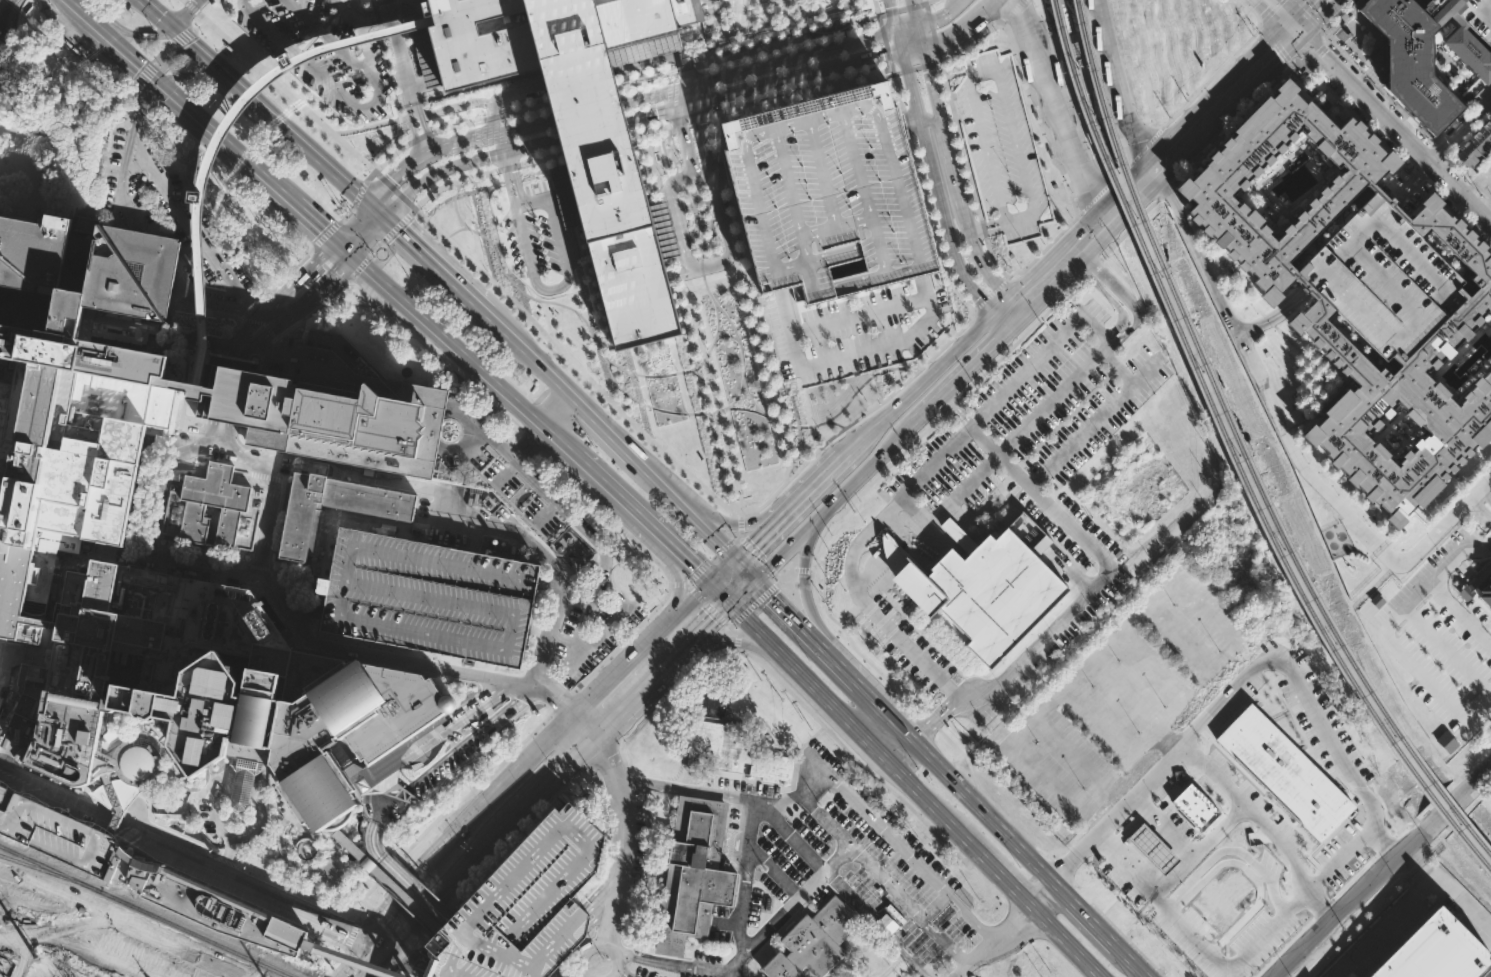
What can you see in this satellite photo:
road: (925, 1)
road: (929, 1)
road: (989, 5)
road: (4, 6)
road: (876, 7)
road: (901, 8)
road: (1252, 8)
traffic signals: (74, 10)
road: (1009, 11)
road: (1271, 11)
road: (344, 12)
road: (910, 13)
road: (186, 14)
road: (891, 15)
road: (1279, 15)
road: (1309, 15)
road: (940, 16)
road: (1338, 16)
building: (1477, 16)
parking garage: (1477, 16)
road: (1308, 17)
road: (374, 18)
traffic signals: (173, 28)
road: (905, 28)
road: (122, 30)
traffic signals: (1295, 31)
building: (547, 32)
road: (933, 32)
road: (954, 33)
road: (11, 34)
road: (917, 36)
road: (695, 38)
road: (330, 40)
road: (786, 40)
road: (423, 41)
road: (884, 41)
road: (898, 41)
road: (1277, 43)
road: (643, 44)
road: (194, 48)
road: (429, 48)
road: (910, 49)
road: (1309, 50)
road: (164, 51)
parking lot: (325, 51)
road: (398, 55)
building: (1425, 55)
road: (660, 58)
road: (792, 58)
road: (575, 61)
road: (684, 66)
road: (917, 68)
road: (93, 70)
road: (994, 71)
road: (1102, 72)
road: (1213, 74)
road: (645, 75)
road: (205, 77)
road: (1067, 77)
road: (580, 78)
road: (796, 78)
road: (1086, 80)
road: (929, 82)
road: (491, 83)
road: (278, 85)
road: (1024, 86)
road: (678, 88)
road: (1116, 88)
road: (703, 89)
road: (1380, 90)
road: (801, 91)
road: (584, 93)
road: (516, 94)
road: (690, 95)
road: (344, 97)
road: (645, 97)
road: (141, 98)
road: (431, 99)
road: (671, 100)
road: (1222, 101)
road: (412, 103)
road: (459, 105)
road: (683, 107)
road: (527, 108)
road: (1055, 110)
road: (140, 111)
road: (412, 111)
road: (588, 111)
road: (43, 113)
road: (1355, 113)
building: (589, 115)
road: (650, 115)
road: (491, 117)
road: (690, 119)
road: (197, 120)
road: (929, 121)
road: (456, 123)
road: (496, 123)
road: (1231, 123)
road: (527, 127)
road: (399, 128)
road: (1392, 128)
road: (593, 129)
road: (651, 131)
road: (1460, 133)
road: (422, 136)
road: (216, 137)
road: (960, 141)
road: (682, 142)
road: (502, 143)
road: (532, 145)
road: (597, 145)
building: (1475, 145)
parking lot: (1000, 146)
road: (308, 149)
road: (426, 154)
road: (391, 155)
road: (1439, 155)
road: (541, 158)
road: (508, 167)
road: (709, 170)
road: (224, 171)
road: (437, 171)
road: (1119, 171)
road: (1456, 174)
building: (534, 175)
road: (1417, 175)
road: (953, 176)
traffic signals: (393, 178)
road: (511, 179)
road: (104, 180)
road: (452, 182)
road: (1165, 182)
road: (1412, 182)
road: (1476, 182)
road: (127, 189)
road: (393, 189)
road: (1168, 190)
road: (1480, 191)
building: (830, 192)
parking garage: (830, 192)
road: (923, 193)
road: (1129, 194)
road: (938, 199)
road: (1485, 209)
road: (377, 210)
road: (348, 213)
road: (1457, 214)
road: (104, 217)
road: (554, 220)
road: (191, 222)
road: (350, 222)
road: (1129, 228)
road: (455, 229)
road: (983, 229)
road: (986, 230)
traffic signals: (320, 231)
traffic signals: (400, 233)
road: (1086, 237)
road: (368, 238)
road: (306, 241)
building: (1426, 241)
building: (622, 242)
road: (381, 243)
road: (1351, 245)
road: (1042, 249)
road: (159, 250)
road: (341, 250)
building: (46, 252)
road: (727, 252)
road: (992, 259)
road: (139, 264)
road: (329, 264)
road: (531, 267)
road: (1092, 267)
road: (298, 276)
traffic signals: (329, 277)
road: (282, 278)
road: (989, 278)
building: (1384, 279)
parking garage: (1384, 279)
road: (349, 281)
road: (686, 289)
road: (1049, 289)
road: (313, 291)
road: (524, 292)
road: (990, 293)
road: (198, 295)
building: (1476, 302)
road: (250, 308)
road: (248, 309)
road: (973, 310)
road: (201, 312)
road: (1274, 316)
road: (716, 318)
road: (271, 319)
road: (259, 322)
road: (399, 322)
road: (1016, 322)
road: (249, 327)
parking lot: (852, 328)
road: (725, 334)
road: (735, 335)
road: (1020, 336)
road: (261, 340)
road: (530, 354)
road: (956, 355)
road: (235, 356)
road: (463, 357)
road: (1116, 368)
road: (681, 371)
road: (769, 377)
road: (958, 377)
road: (623, 379)
road: (1261, 385)
building: (188, 389)
road: (227, 394)
road: (1004, 396)
road: (734, 398)
road: (751, 399)
road: (648, 406)
road: (948, 406)
building: (330, 409)
building: (76, 412)
road: (565, 417)
road: (826, 419)
road: (833, 421)
road: (1093, 425)
road: (220, 431)
road: (533, 440)
railway: (1241, 448)
railway: (1233, 455)
road: (865, 467)
road: (687, 472)
road: (828, 475)
road: (161, 482)
road: (608, 486)
road: (866, 486)
road: (1452, 488)
road: (273, 494)
road: (1482, 501)
building: (205, 506)
building: (389, 512)
road: (936, 518)
road: (1444, 520)
road: (738, 523)
road: (740, 524)
road: (657, 530)
road: (714, 536)
road: (528, 541)
road: (761, 541)
road: (788, 546)
traffic signals: (756, 547)
road: (122, 553)
road: (1098, 555)
road: (758, 557)
road: (1390, 557)
road: (712, 560)
road: (662, 564)
road: (694, 565)
road: (201, 566)
traffic signals: (696, 567)
road: (1438, 580)
road: (678, 584)
building: (982, 584)
road: (548, 586)
road: (679, 588)
road: (805, 588)
road: (744, 590)
road: (767, 590)
road: (723, 593)
traffic signals: (772, 596)
building: (428, 597)
parking garage: (428, 597)
road: (1196, 601)
road: (708, 605)
road: (691, 607)
road: (305, 611)
road: (794, 619)
traffic signals: (713, 621)
road: (710, 623)
road: (735, 642)
road: (851, 644)
road: (1187, 647)
road: (372, 656)
building: (1489, 670)
road: (4, 671)
road: (845, 674)
road: (1159, 675)
road: (641, 691)
road: (788, 691)
building: (209, 692)
building: (712, 693)
road: (563, 701)
road: (1133, 701)
road: (510, 706)
road: (1217, 707)
road: (885, 714)
road: (847, 718)
road: (933, 722)
road: (584, 727)
road: (1107, 727)
road: (902, 751)
building: (734, 752)
road: (601, 755)
road: (1079, 758)
road: (7, 762)
building: (1285, 766)
road: (510, 777)
road: (1475, 779)
road: (631, 781)
road: (723, 794)
building: (1488, 797)
road: (92, 798)
road: (1453, 801)
road: (983, 812)
road: (1436, 818)
road: (212, 823)
road: (521, 829)
road: (136, 833)
building: (55, 834)
parking garage: (55, 834)
road: (233, 838)
road: (490, 839)
road: (623, 839)
building: (352, 854)
road: (1046, 855)
road: (183, 858)
road: (907, 858)
road: (170, 868)
building: (1351, 869)
road: (775, 870)
road: (998, 870)
building: (694, 873)
road: (396, 876)
road: (821, 876)
road: (385, 879)
road: (372, 886)
road: (600, 888)
road: (744, 888)
road: (840, 888)
road: (1044, 895)
road: (602, 896)
road: (1351, 902)
road: (365, 903)
building: (204, 904)
building: (524, 906)
parking lot: (524, 906)
road: (1459, 911)
railway: (144, 912)
road: (361, 912)
road: (601, 915)
road: (1393, 915)
road: (1086, 916)
road: (919, 918)
road: (638, 919)
railway: (129, 920)
road: (1014, 923)
road: (396, 928)
road: (351, 935)
traffic signals: (369, 939)
road: (1069, 941)
building: (814, 942)
road: (381, 944)
road: (598, 945)
traffic signals: (393, 949)
road: (435, 950)
building: (1441, 951)
road: (411, 953)
road: (353, 957)
road: (405, 957)
road: (408, 960)
road: (348, 961)
road: (367, 961)
road: (380, 962)
road: (1133, 962)
road: (675, 964)
road: (402, 967)
road: (961, 968)
power substation: (50, 969)
road: (387, 973)
road: (1487, 973)
road: (618, 974)

